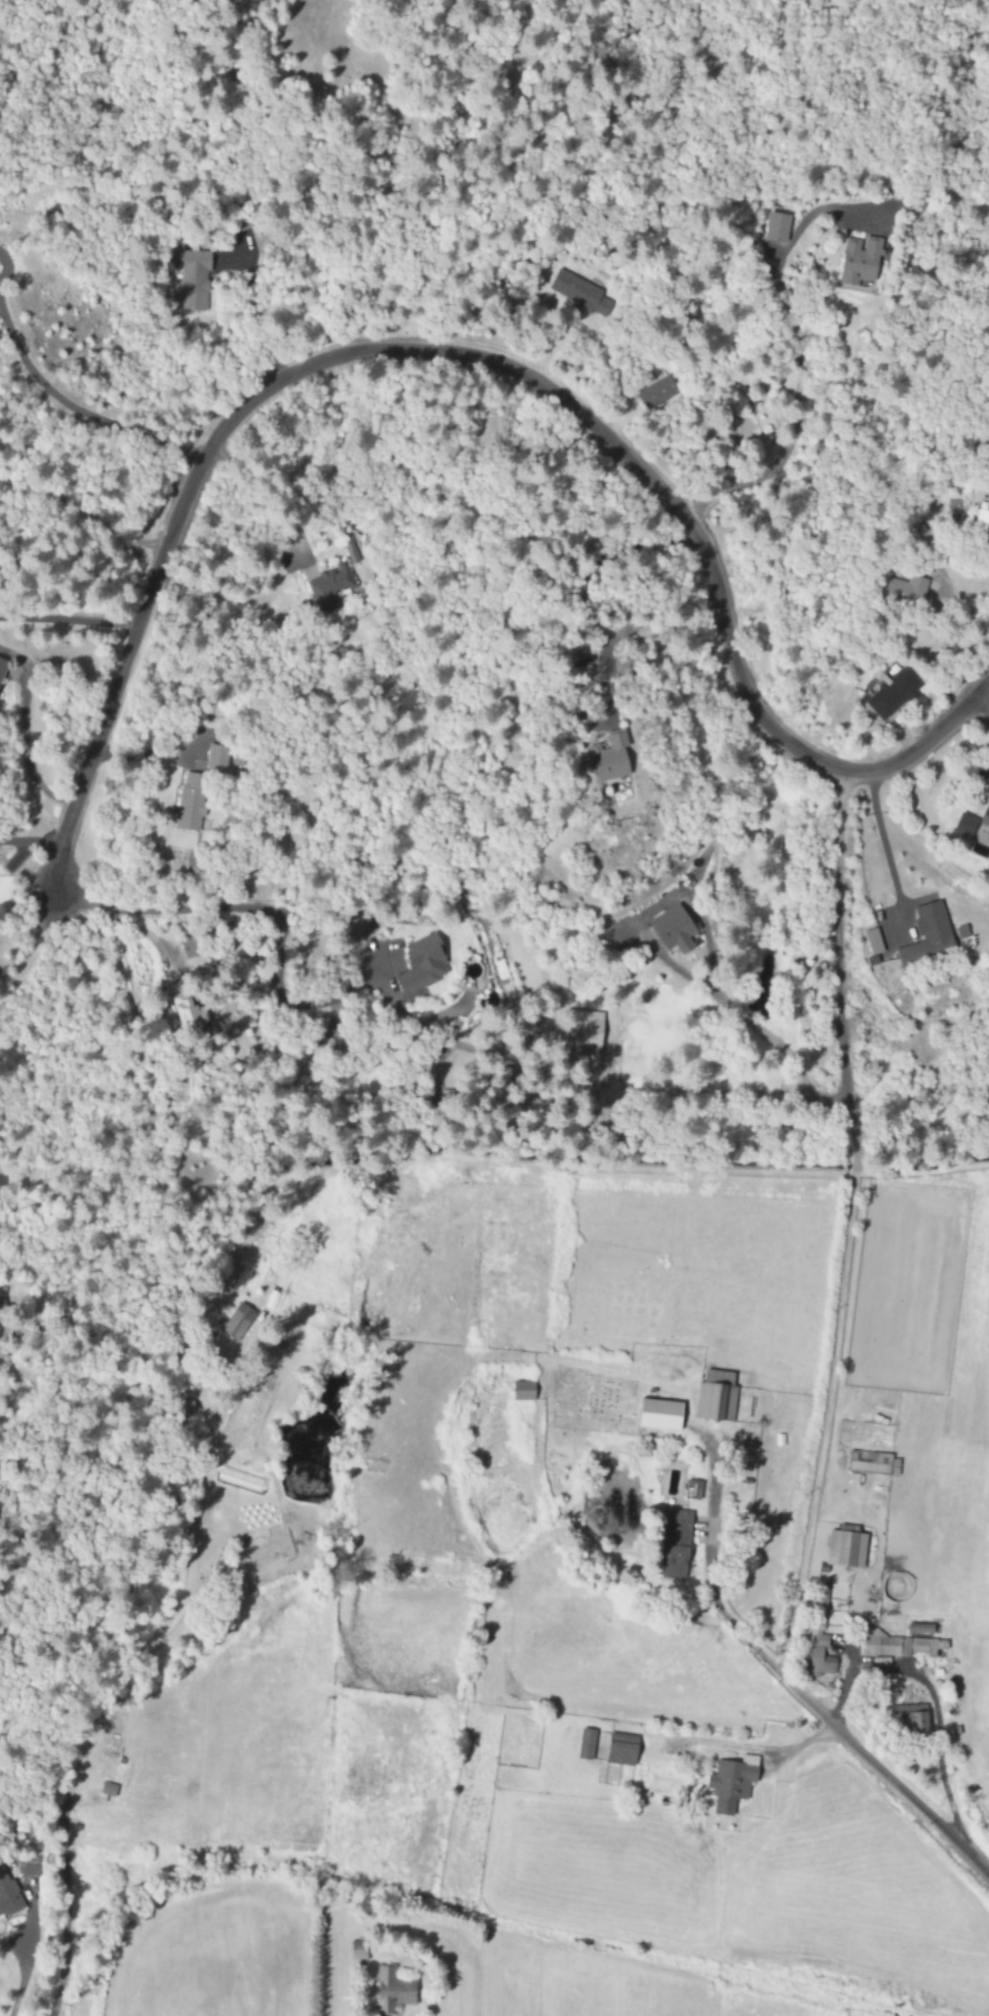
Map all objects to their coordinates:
building: (776, 227)
building: (859, 260)
building: (194, 280)
building: (578, 293)
road: (388, 349)
building: (656, 393)
building: (988, 463)
building: (331, 586)
building: (905, 589)
road: (67, 620)
building: (2, 666)
building: (892, 694)
road: (985, 698)
building: (609, 757)
building: (216, 758)
building: (191, 802)
building: (971, 823)
road: (838, 855)
building: (673, 931)
building: (928, 934)
building: (873, 941)
building: (421, 967)
building: (123, 1006)
building: (186, 1014)
building: (582, 1033)
building: (245, 1273)
building: (237, 1322)
building: (2, 1347)
building: (522, 1391)
building: (716, 1398)
building: (659, 1415)
building: (869, 1462)
building: (0, 1470)
building: (692, 1490)
building: (675, 1545)
building: (846, 1549)
crop: (576, 1618)
building: (903, 1645)
building: (816, 1659)
building: (909, 1719)
building: (585, 1745)
road: (855, 1747)
building: (621, 1750)
building: (731, 1784)
building: (108, 1790)
building: (8, 1894)
building: (358, 1950)
road: (18, 1976)
building: (392, 1990)

